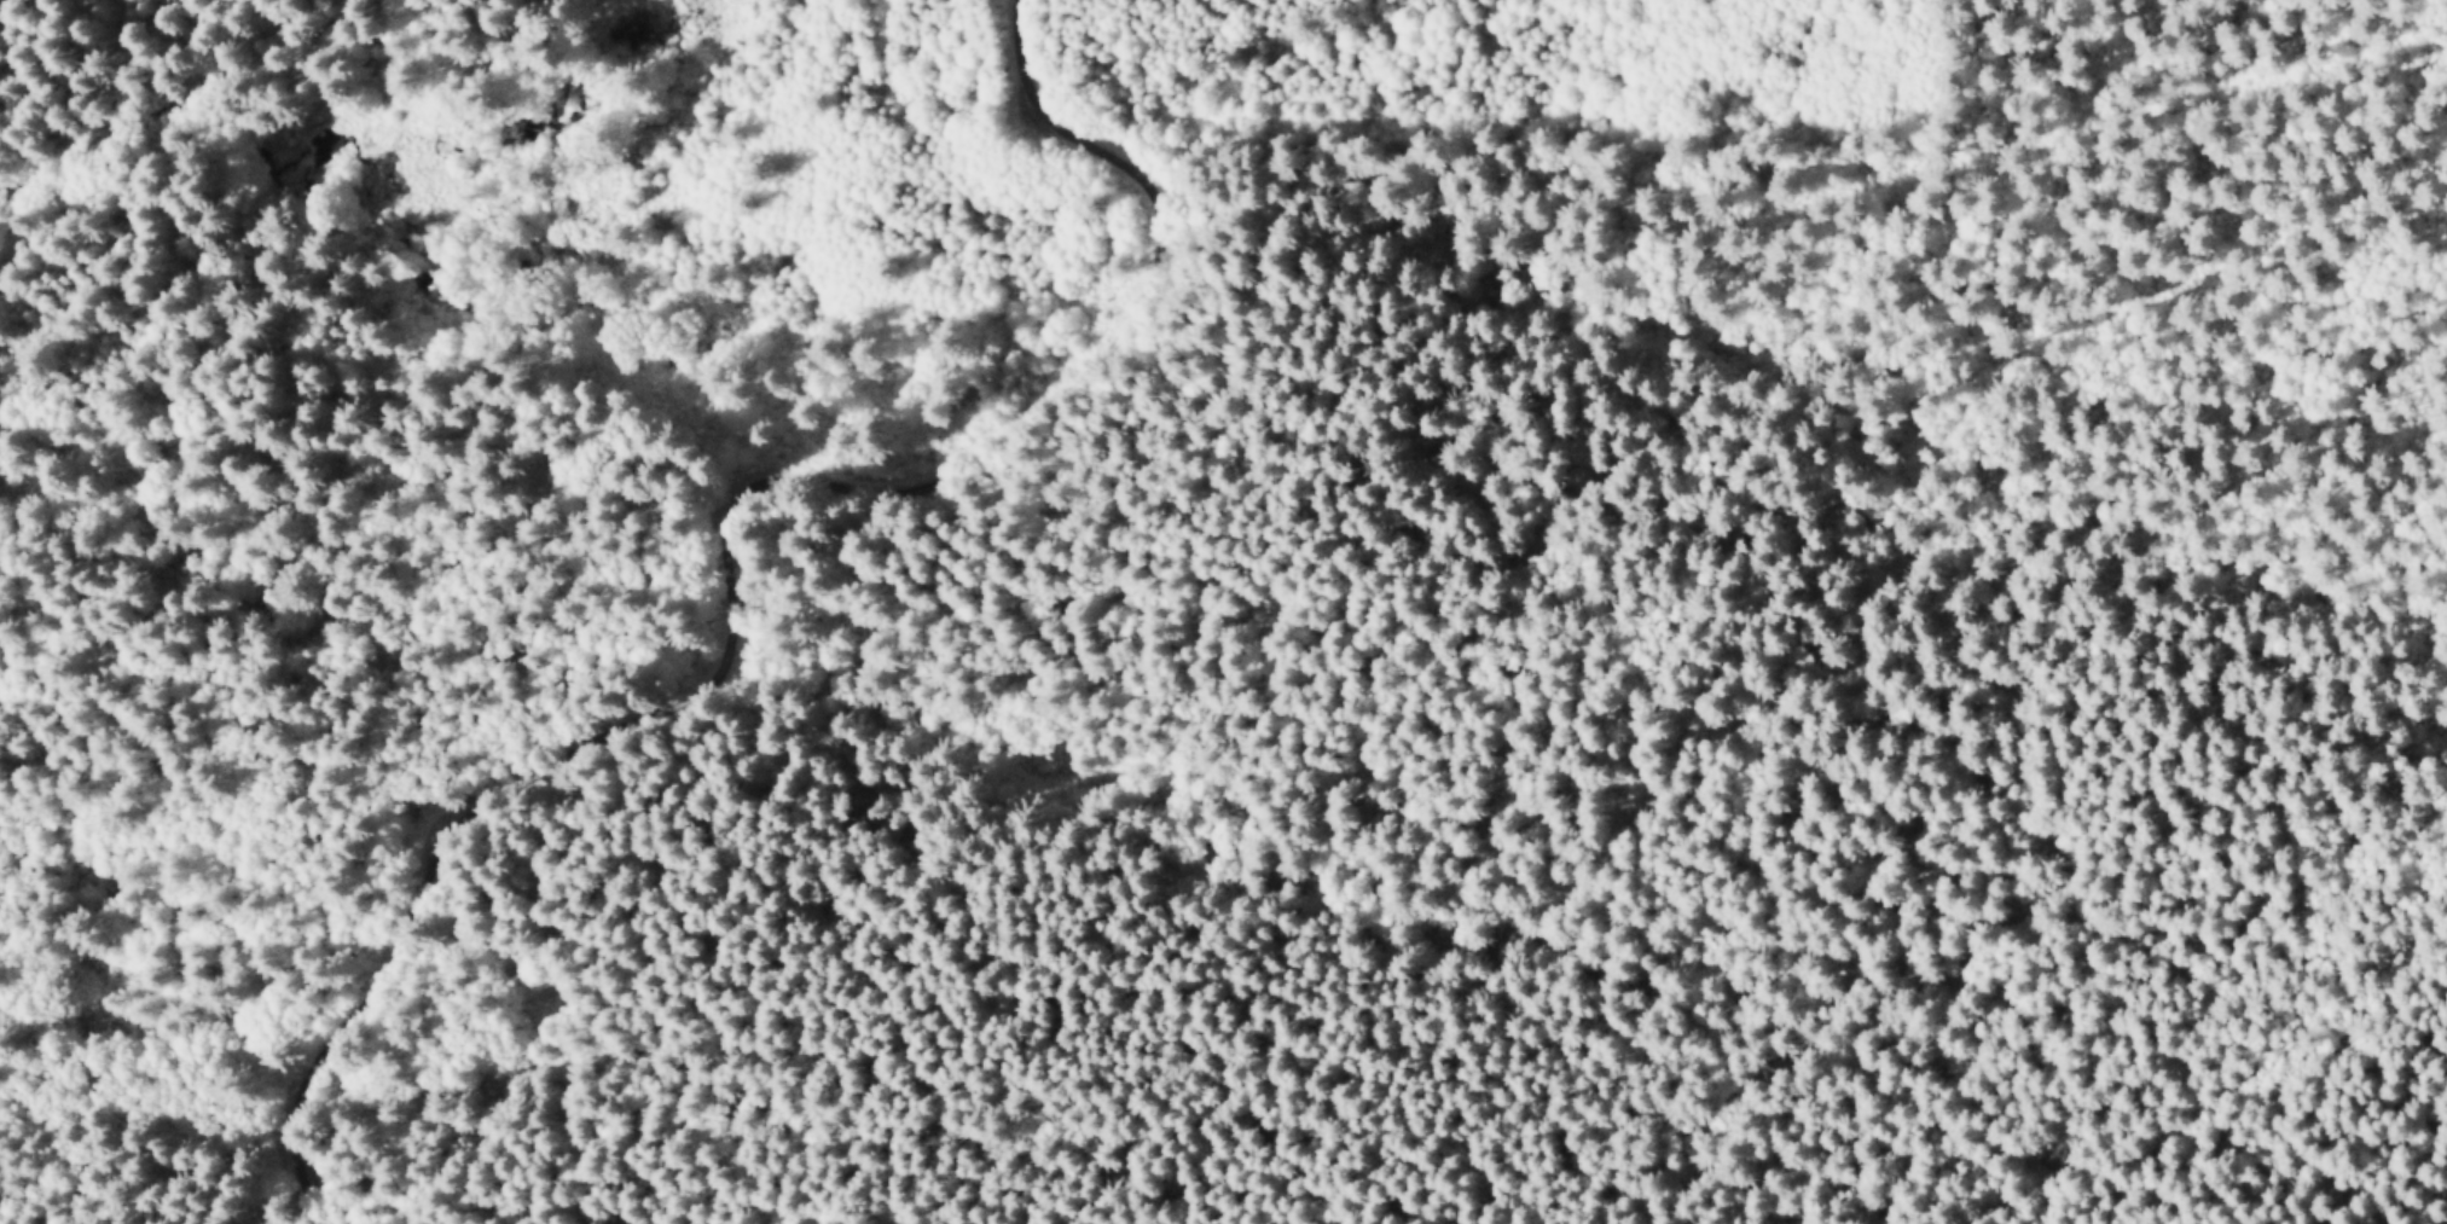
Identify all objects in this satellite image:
road: (702, 591)

